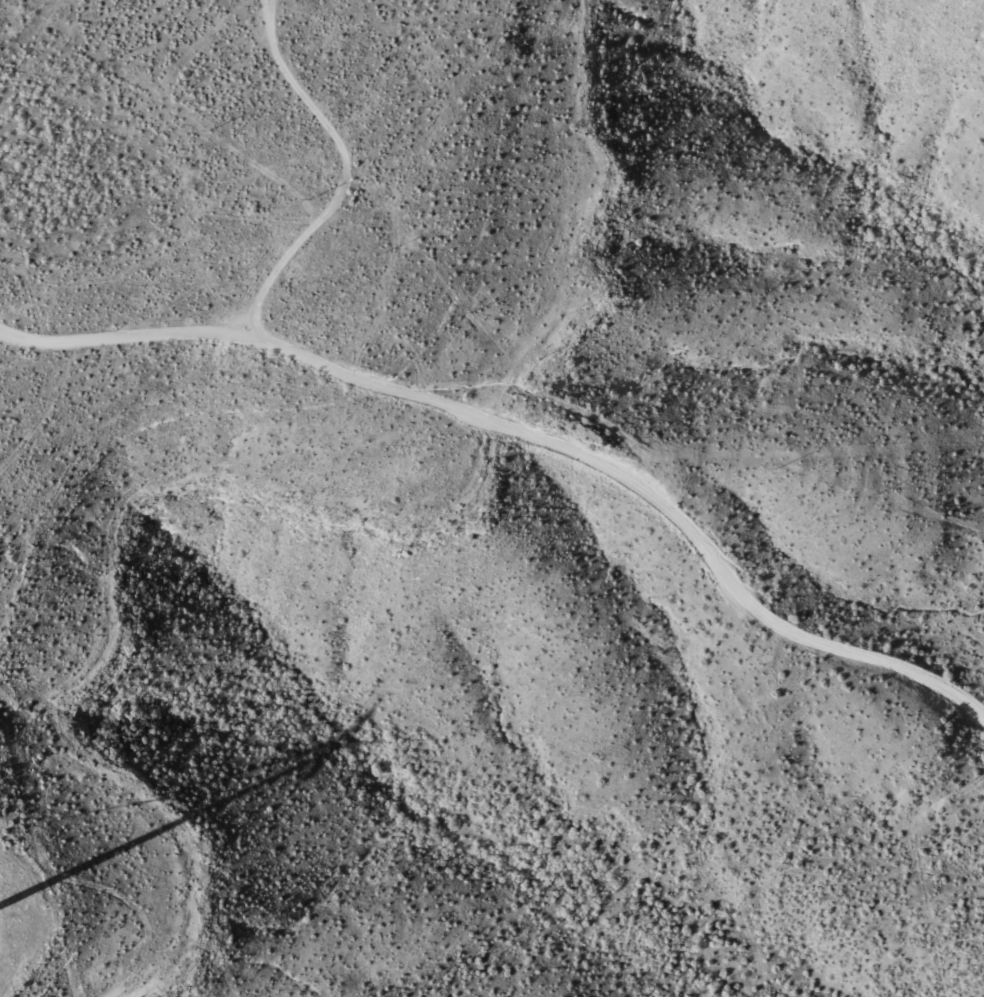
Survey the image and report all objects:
road: (551, 431)

